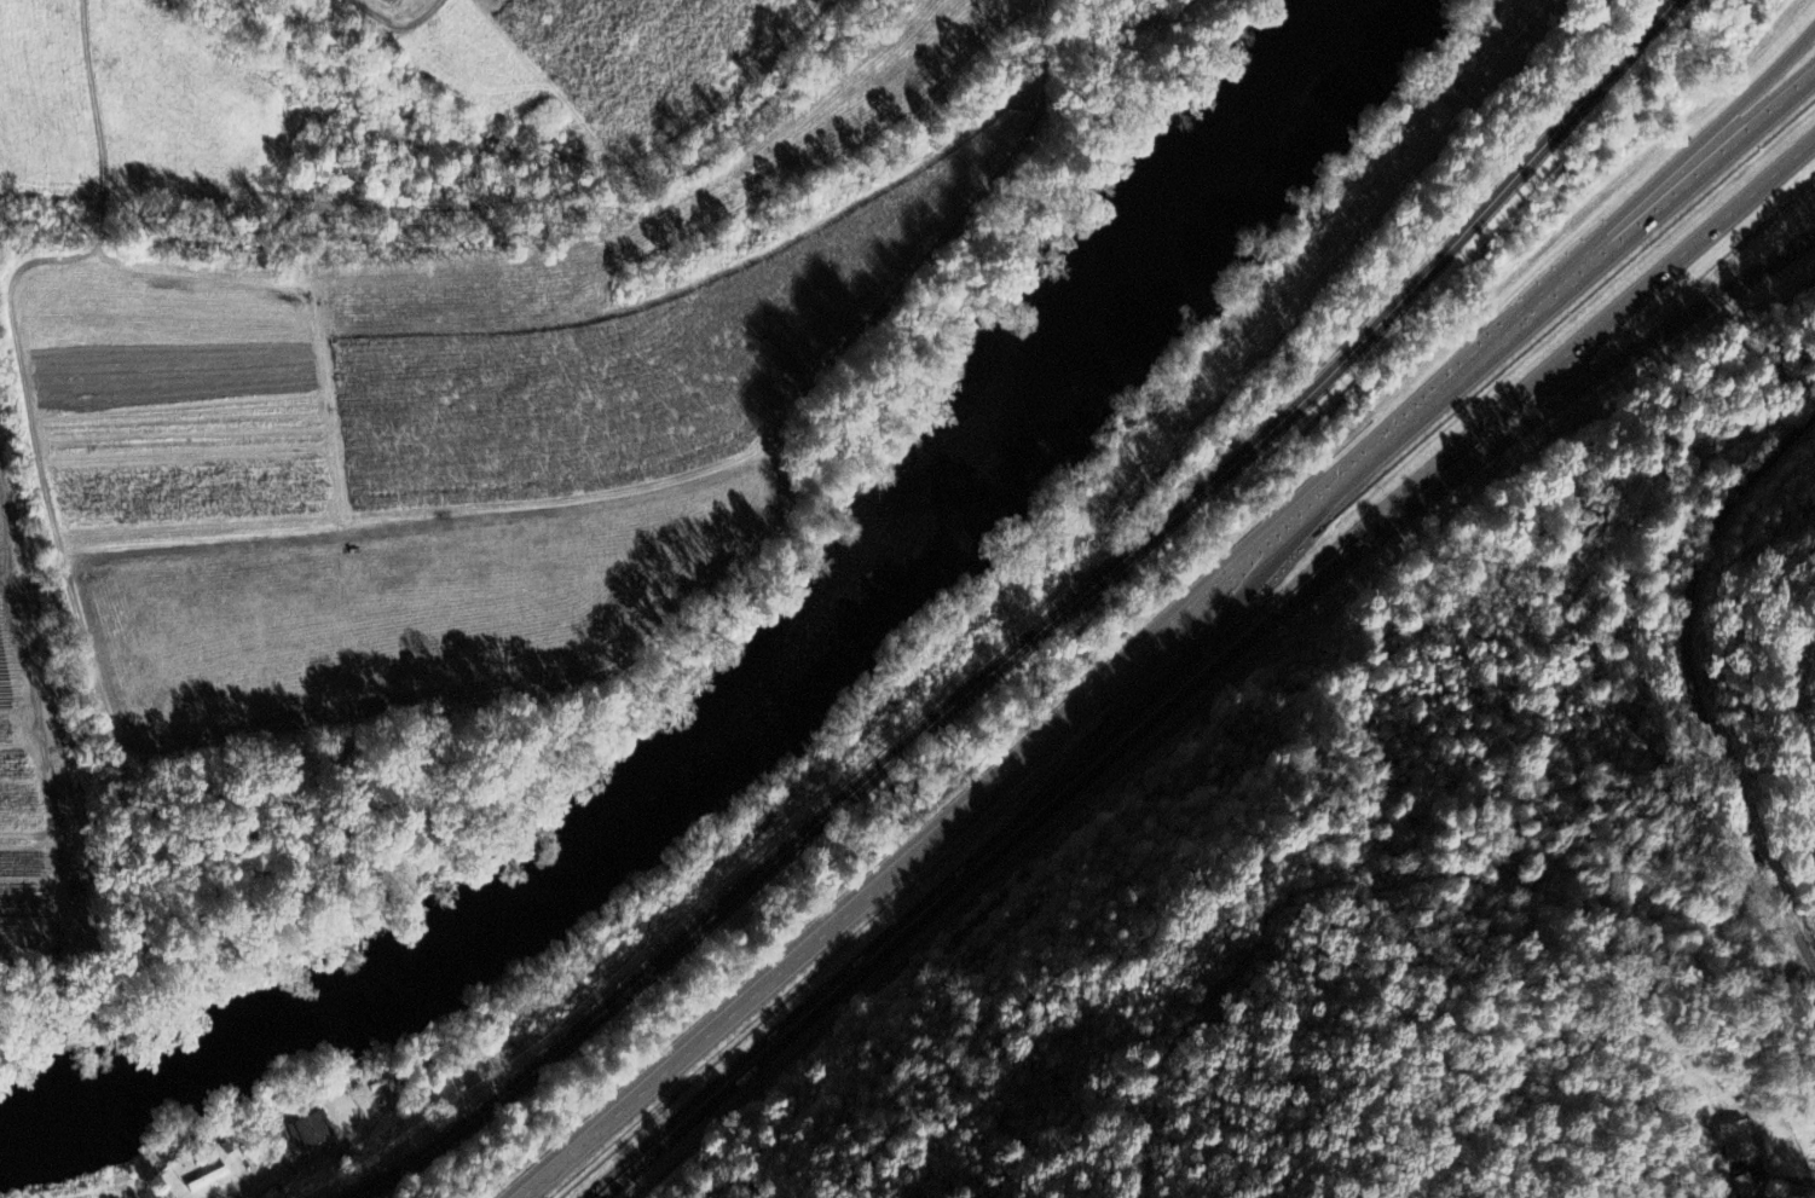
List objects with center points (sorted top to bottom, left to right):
river: (1272, 122)
road: (1586, 251)
river: (1097, 322)
road: (1521, 427)
road: (1041, 629)
road: (1167, 637)
road: (1206, 667)
road: (1692, 679)
river: (711, 757)
power tower: (1408, 851)
river: (162, 1077)
building: (313, 1133)
building: (1734, 1139)
road: (1780, 1180)
building: (1745, 1185)

